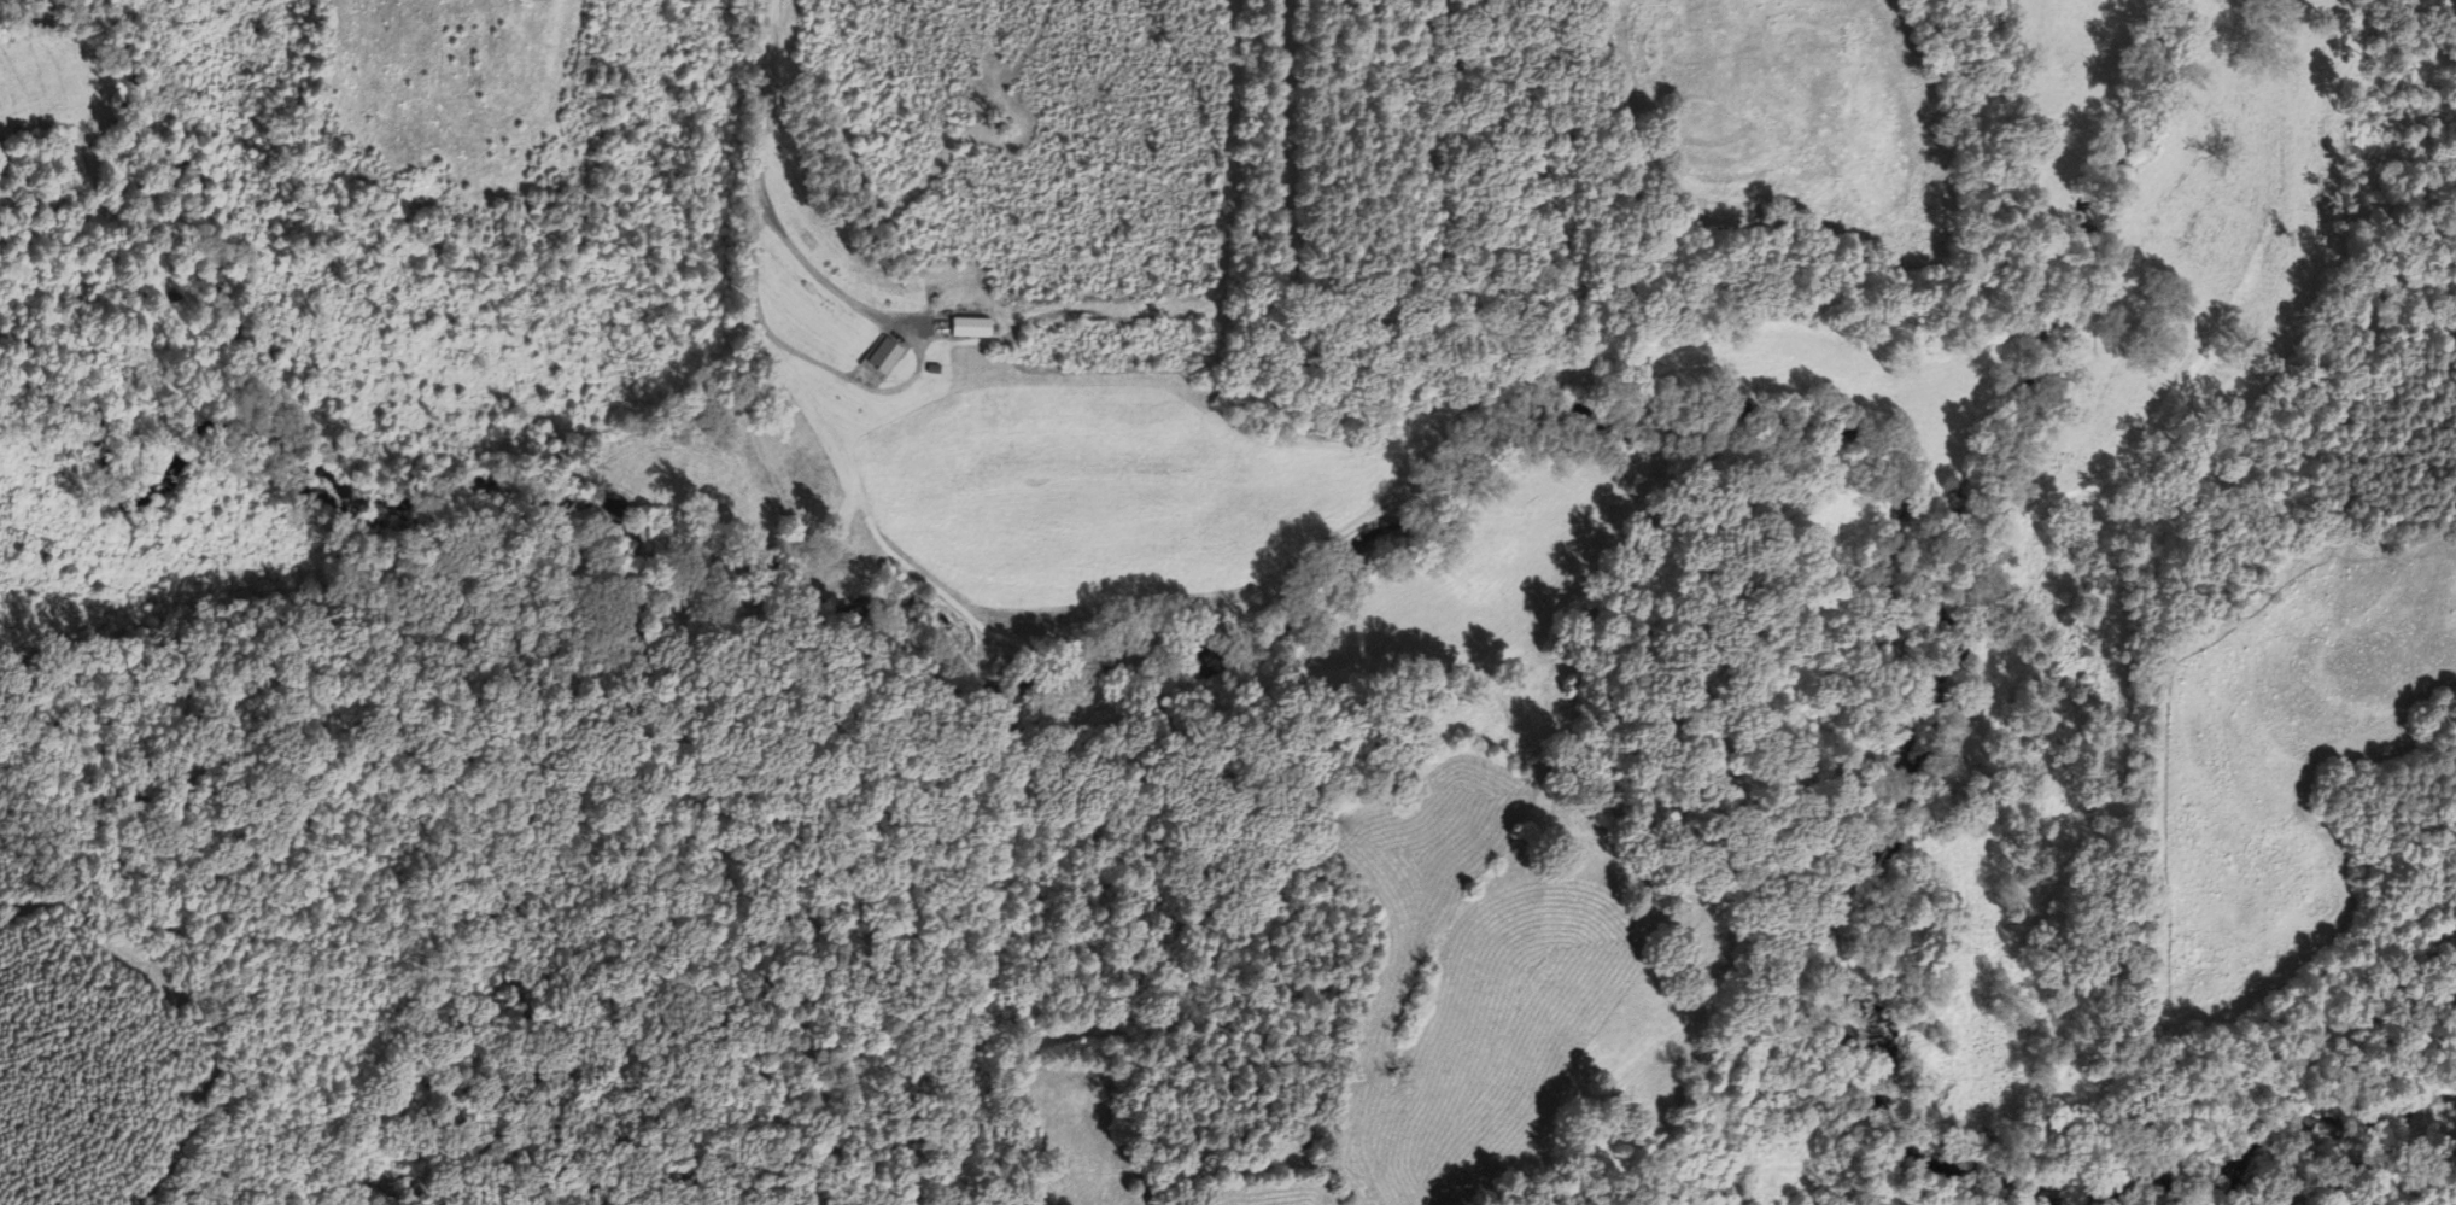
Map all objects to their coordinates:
road: (761, 96)
building: (883, 356)
road: (894, 396)

